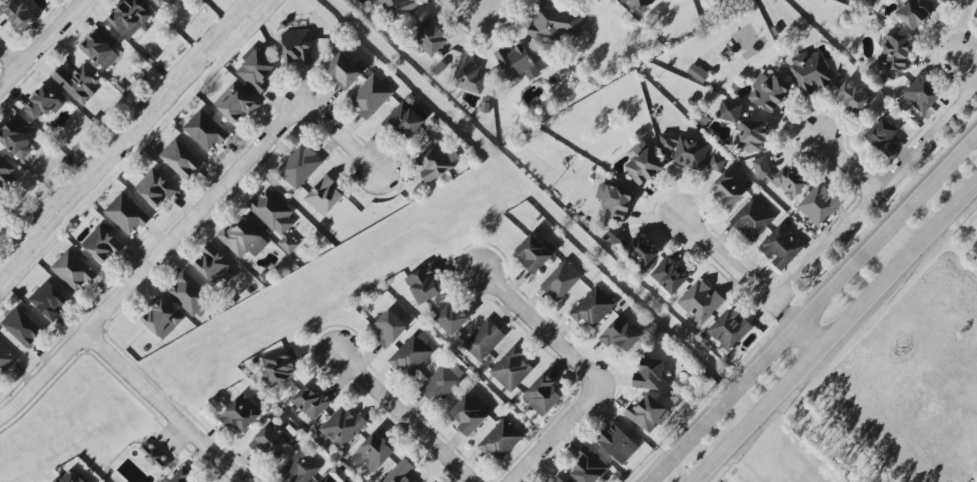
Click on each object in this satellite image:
building: (940, 0)
building: (160, 2)
building: (639, 2)
building: (399, 6)
road: (465, 9)
building: (914, 12)
building: (975, 14)
building: (19, 15)
building: (129, 18)
building: (554, 23)
building: (429, 37)
road: (43, 46)
building: (297, 47)
building: (101, 48)
road: (13, 53)
building: (894, 53)
road: (970, 61)
building: (517, 63)
building: (345, 69)
building: (256, 71)
building: (697, 72)
building: (810, 72)
building: (468, 74)
building: (78, 82)
building: (768, 92)
building: (919, 95)
building: (370, 96)
building: (852, 97)
building: (43, 103)
building: (236, 103)
building: (729, 111)
building: (406, 118)
building: (205, 131)
building: (750, 136)
building: (883, 137)
building: (16, 138)
road: (338, 141)
building: (684, 150)
building: (181, 159)
building: (436, 162)
building: (642, 163)
building: (716, 163)
building: (299, 166)
road: (851, 166)
building: (6, 174)
building: (780, 178)
building: (155, 188)
building: (728, 189)
building: (323, 195)
road: (875, 198)
building: (614, 201)
building: (819, 204)
building: (126, 214)
building: (274, 217)
road: (194, 218)
building: (752, 219)
building: (242, 239)
building: (102, 244)
building: (780, 247)
building: (633, 248)
building: (542, 253)
road: (728, 262)
building: (215, 265)
road: (461, 266)
building: (73, 270)
building: (669, 275)
road: (519, 278)
building: (565, 279)
building: (431, 284)
building: (190, 294)
road: (483, 295)
road: (539, 299)
building: (49, 300)
building: (700, 301)
road: (810, 305)
building: (597, 307)
road: (506, 310)
building: (161, 317)
building: (458, 317)
road: (542, 324)
building: (22, 327)
road: (566, 328)
building: (728, 330)
road: (836, 330)
building: (393, 331)
building: (626, 333)
road: (533, 335)
road: (805, 337)
building: (488, 338)
road: (316, 349)
building: (415, 353)
road: (595, 353)
road: (368, 358)
building: (5, 360)
building: (286, 364)
building: (515, 366)
road: (562, 366)
building: (656, 374)
road: (44, 375)
road: (616, 375)
road: (385, 376)
building: (445, 380)
road: (343, 381)
building: (547, 395)
road: (614, 397)
building: (317, 400)
road: (417, 403)
road: (168, 406)
road: (376, 407)
building: (652, 412)
building: (245, 413)
road: (598, 413)
building: (474, 414)
road: (405, 417)
building: (346, 426)
road: (394, 426)
road: (217, 431)
road: (556, 433)
road: (571, 438)
building: (504, 439)
building: (278, 441)
road: (455, 441)
building: (623, 441)
building: (379, 452)
building: (153, 457)
road: (246, 459)
road: (474, 459)
building: (593, 465)
building: (303, 467)
road: (429, 467)
road: (546, 468)
building: (403, 472)
building: (72, 476)
building: (181, 477)
building: (329, 478)
road: (467, 479)
building: (559, 480)
building: (564, 480)

